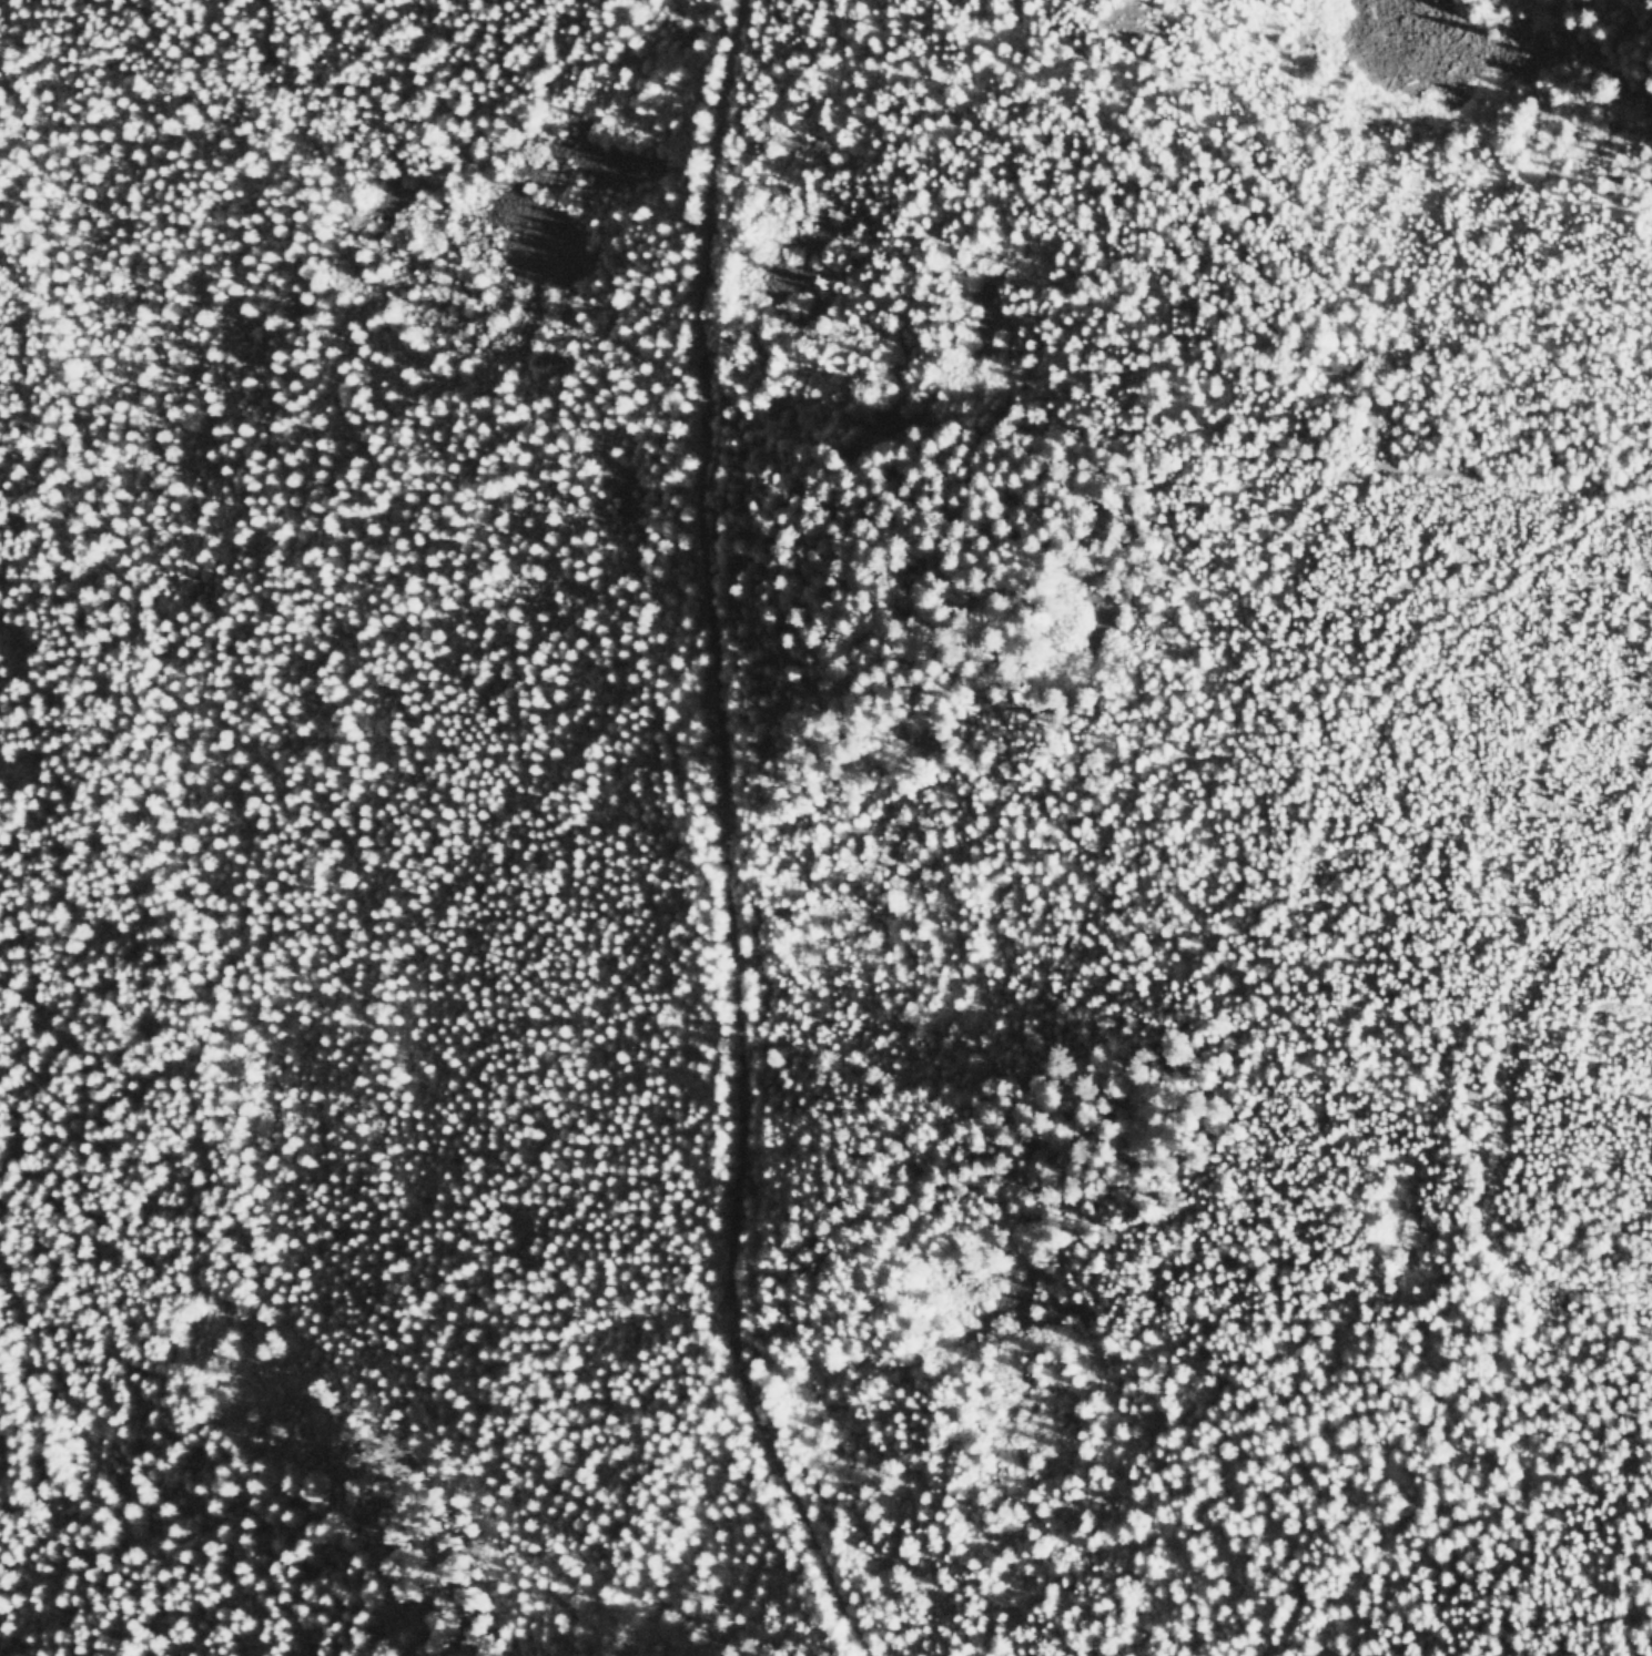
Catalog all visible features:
road: (1508, 487)
road: (700, 837)
road: (1510, 1081)
road: (22, 1597)

